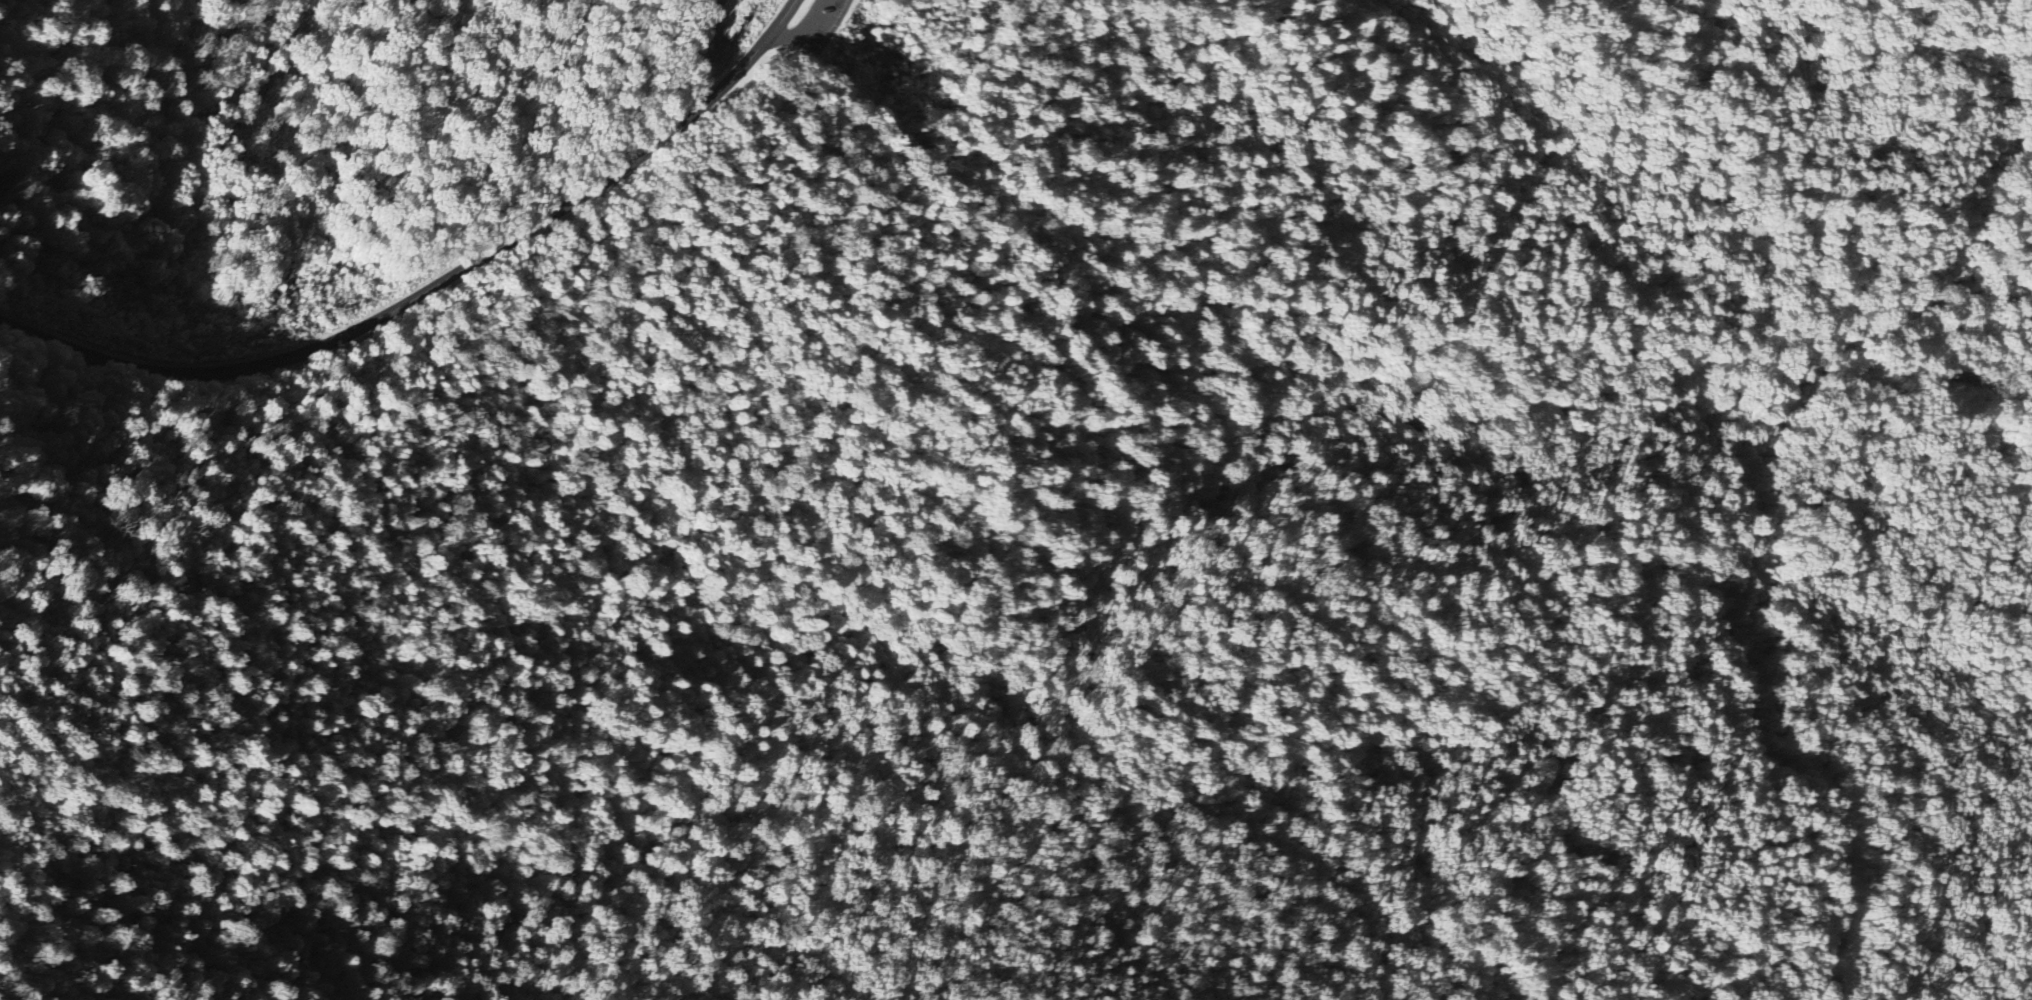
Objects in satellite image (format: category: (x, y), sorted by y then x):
road: (811, 27)
road: (827, 32)
road: (437, 286)
road: (439, 459)
road: (1735, 500)

